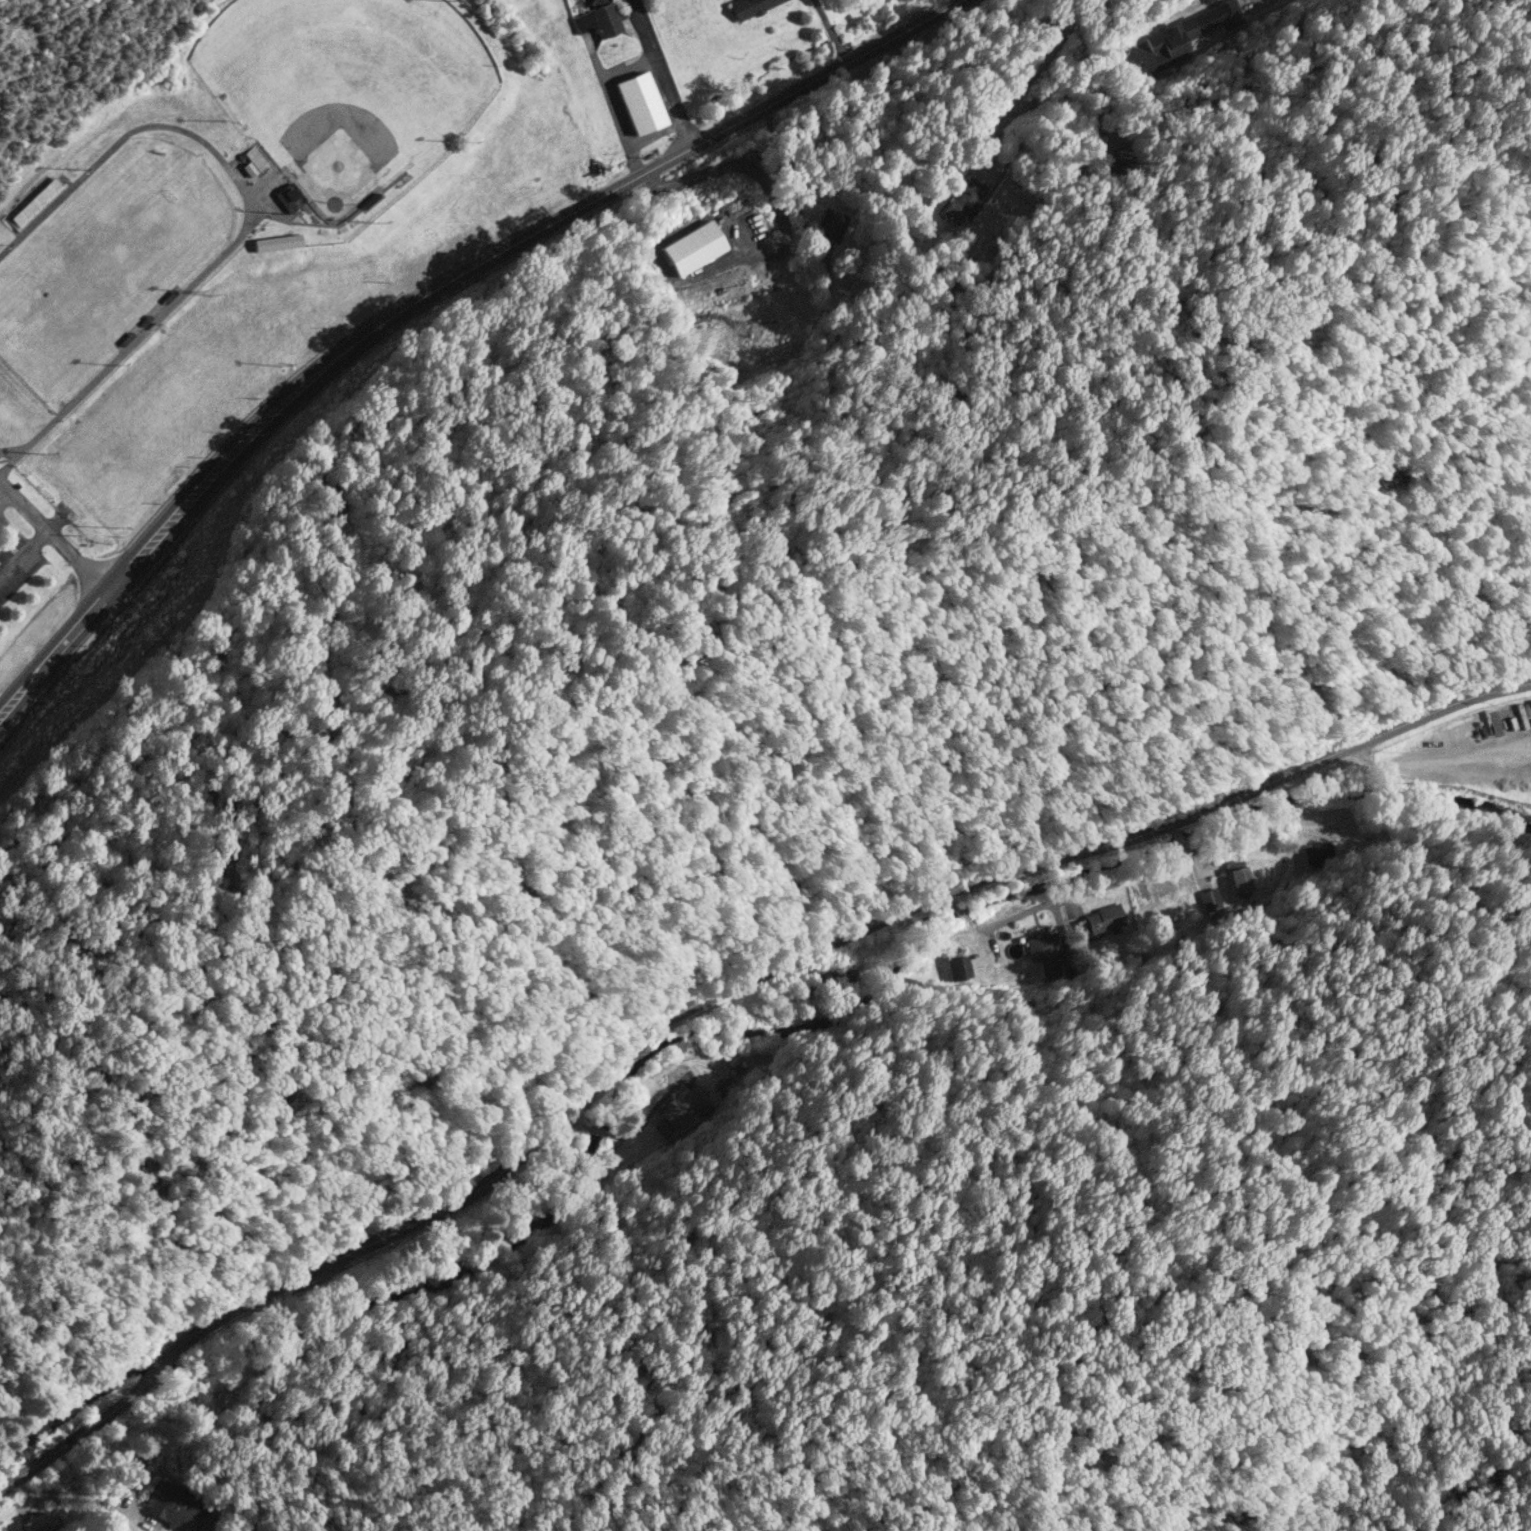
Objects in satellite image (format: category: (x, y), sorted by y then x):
building: (1206, 1)
building: (749, 7)
building: (597, 21)
road: (1046, 30)
road: (829, 31)
building: (1180, 37)
park: (71, 64)
road: (629, 68)
road: (662, 72)
park: (342, 86)
building: (639, 103)
road: (611, 106)
road: (655, 135)
road: (665, 158)
road: (781, 172)
road: (769, 192)
building: (287, 199)
building: (962, 200)
building: (37, 203)
building: (830, 225)
building: (276, 243)
building: (692, 248)
park: (97, 272)
road: (232, 445)
road: (4, 497)
road: (181, 522)
road: (57, 542)
road: (23, 554)
parking lot: (15, 561)
road: (53, 642)
building: (1317, 852)
building: (1237, 877)
building: (1210, 903)
building: (1165, 907)
building: (1098, 922)
building: (1045, 954)
building: (957, 968)
building: (846, 974)
road: (714, 996)
building: (679, 1110)
building: (174, 1505)
road: (115, 1509)
building: (37, 1523)

